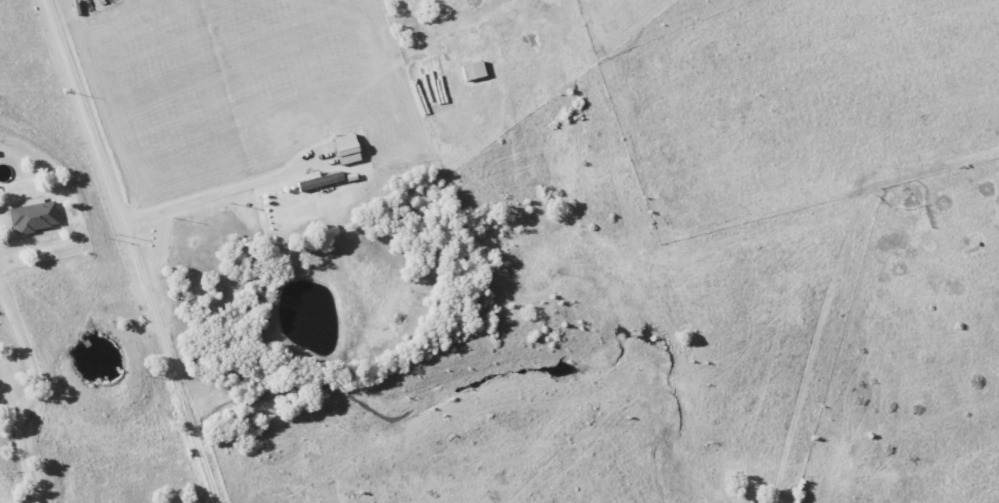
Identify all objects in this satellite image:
building: (472, 70)
building: (345, 149)
road: (221, 193)
building: (33, 215)
road: (135, 250)
road: (29, 394)

